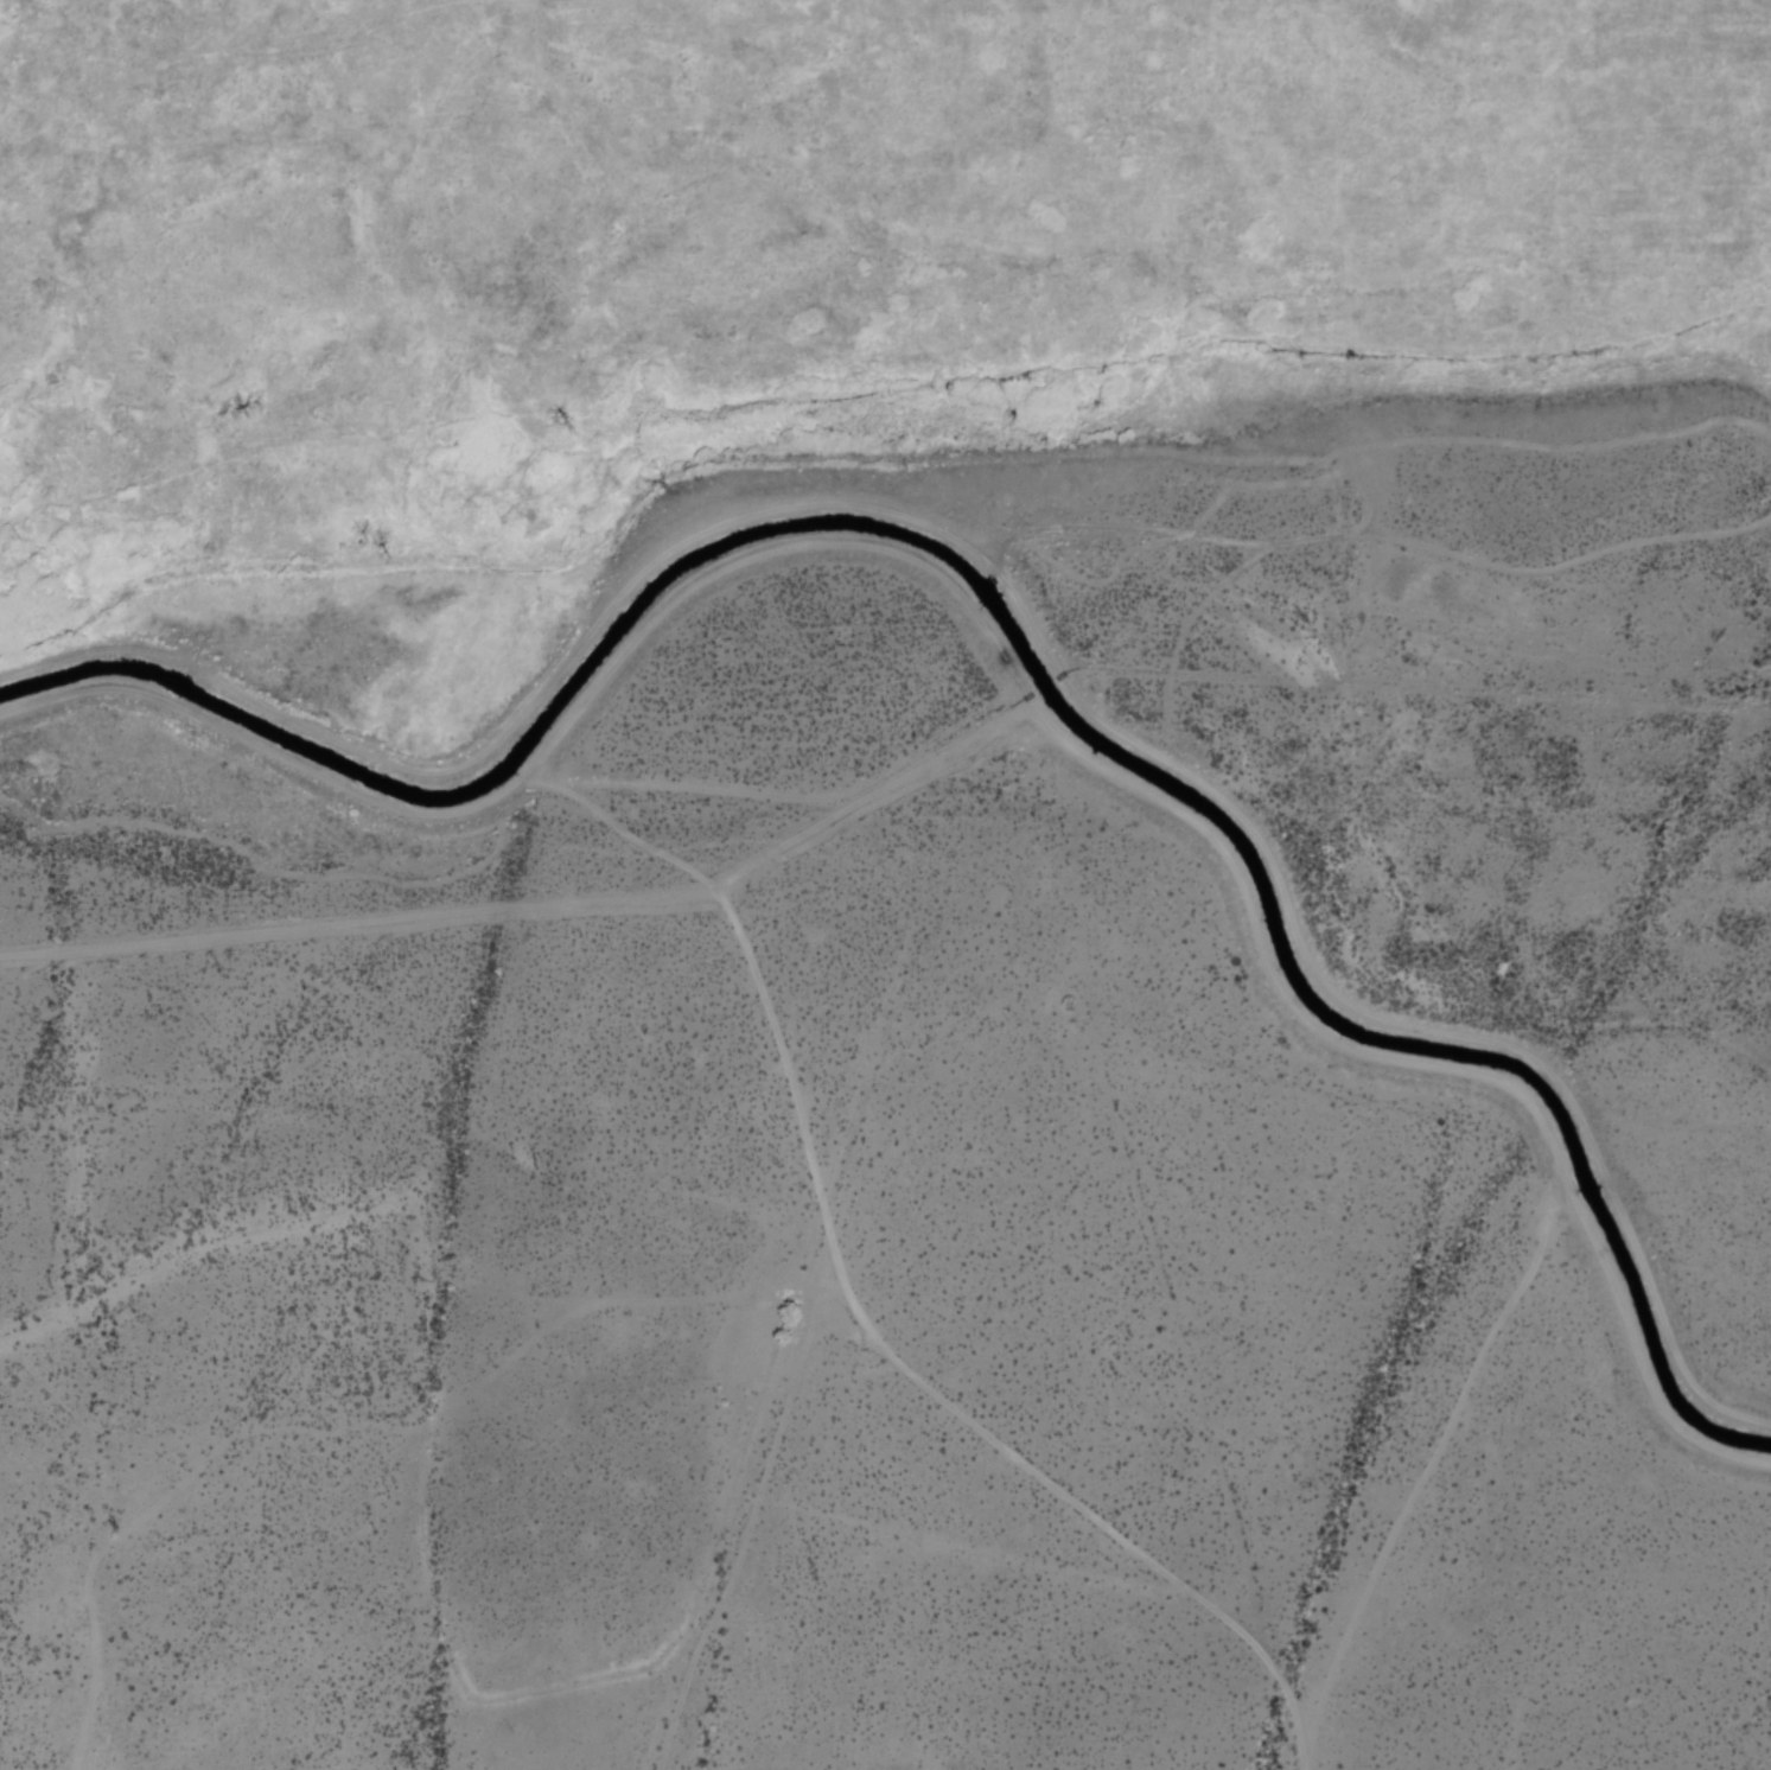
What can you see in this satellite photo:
road: (1017, 601)
road: (1004, 650)
road: (546, 916)
road: (853, 1305)
road: (1426, 1469)

